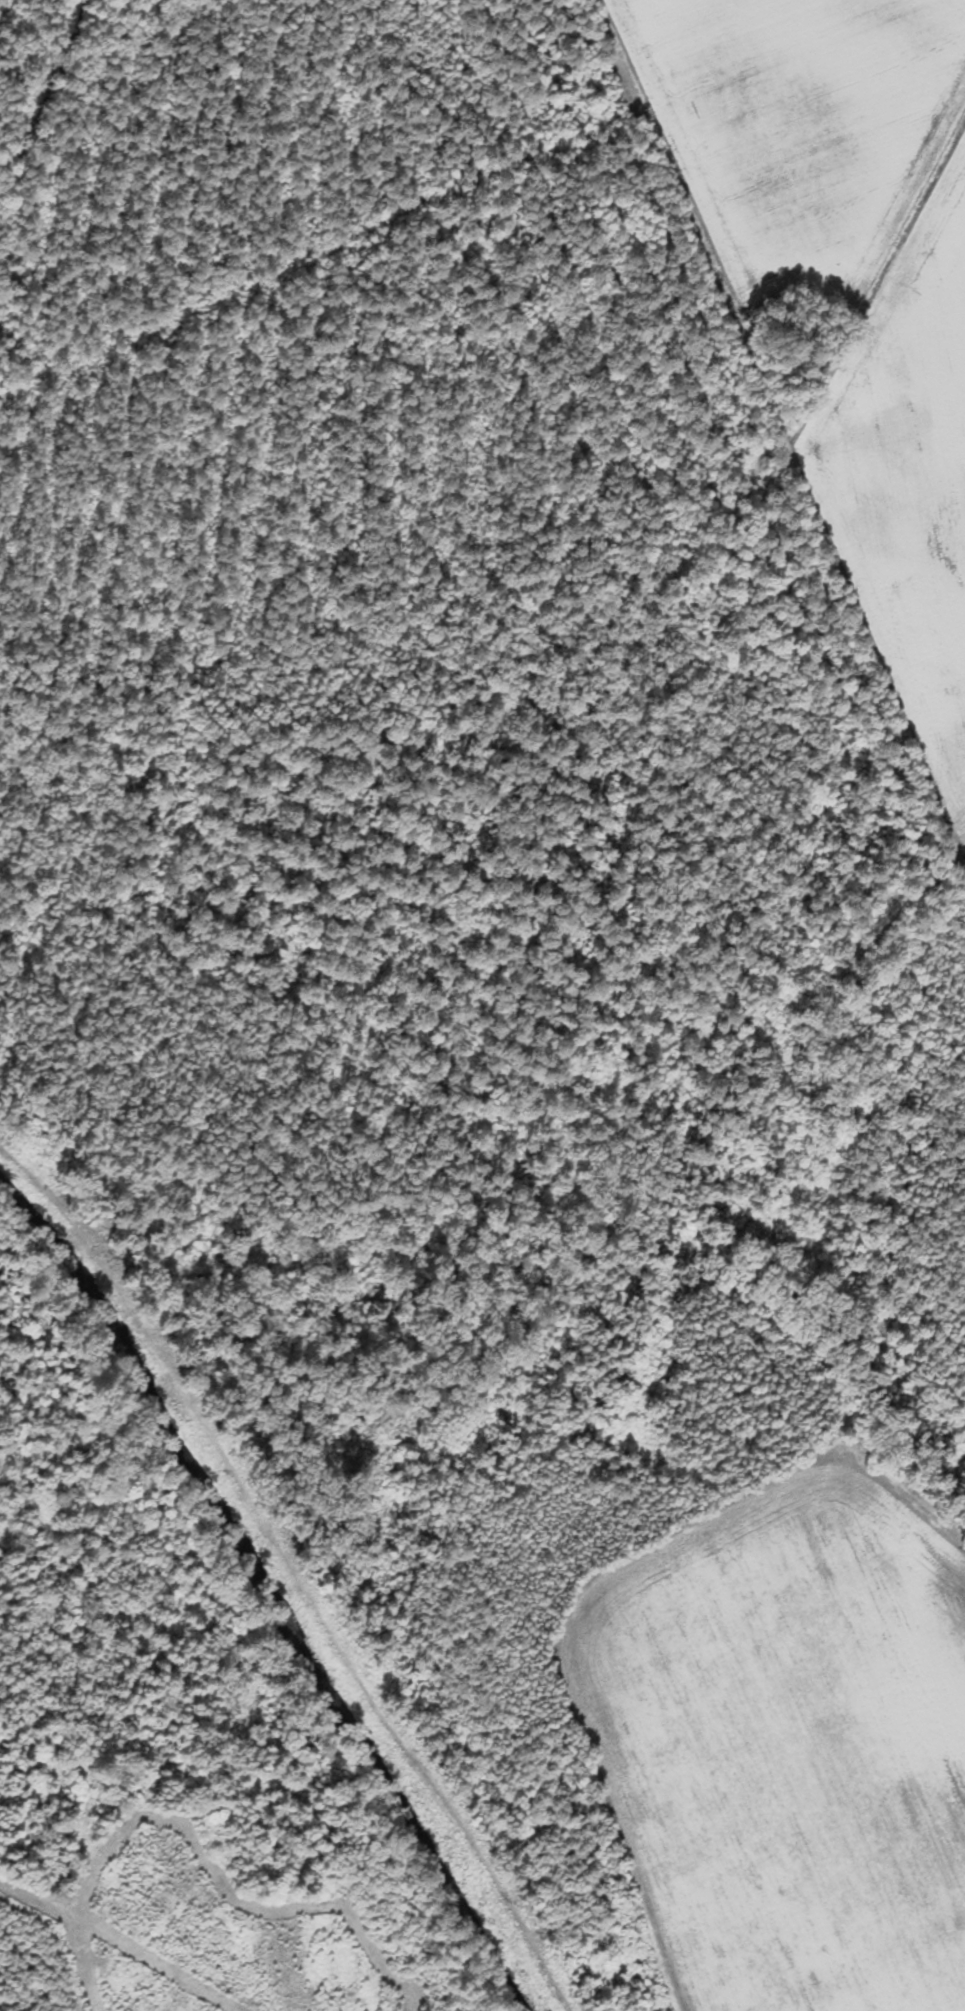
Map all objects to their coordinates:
road: (798, 386)

